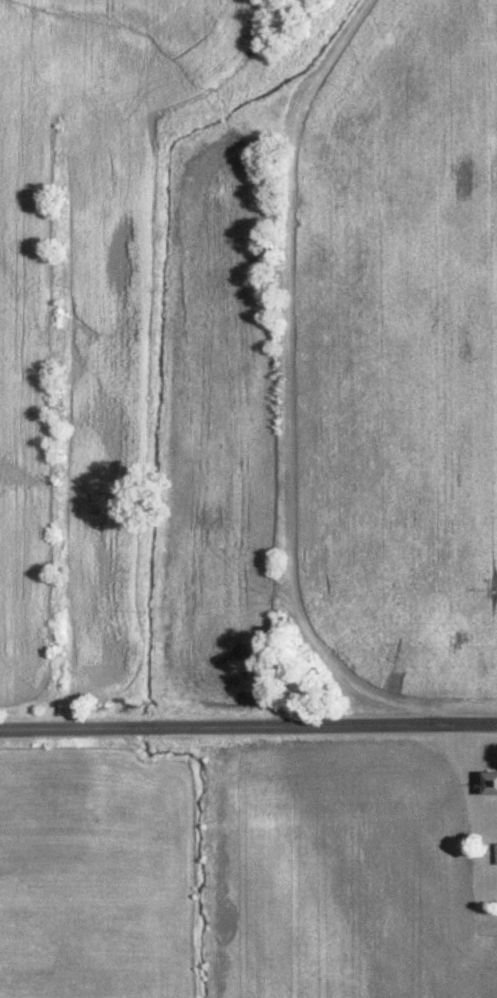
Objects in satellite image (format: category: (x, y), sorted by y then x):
road: (248, 726)
building: (487, 780)

